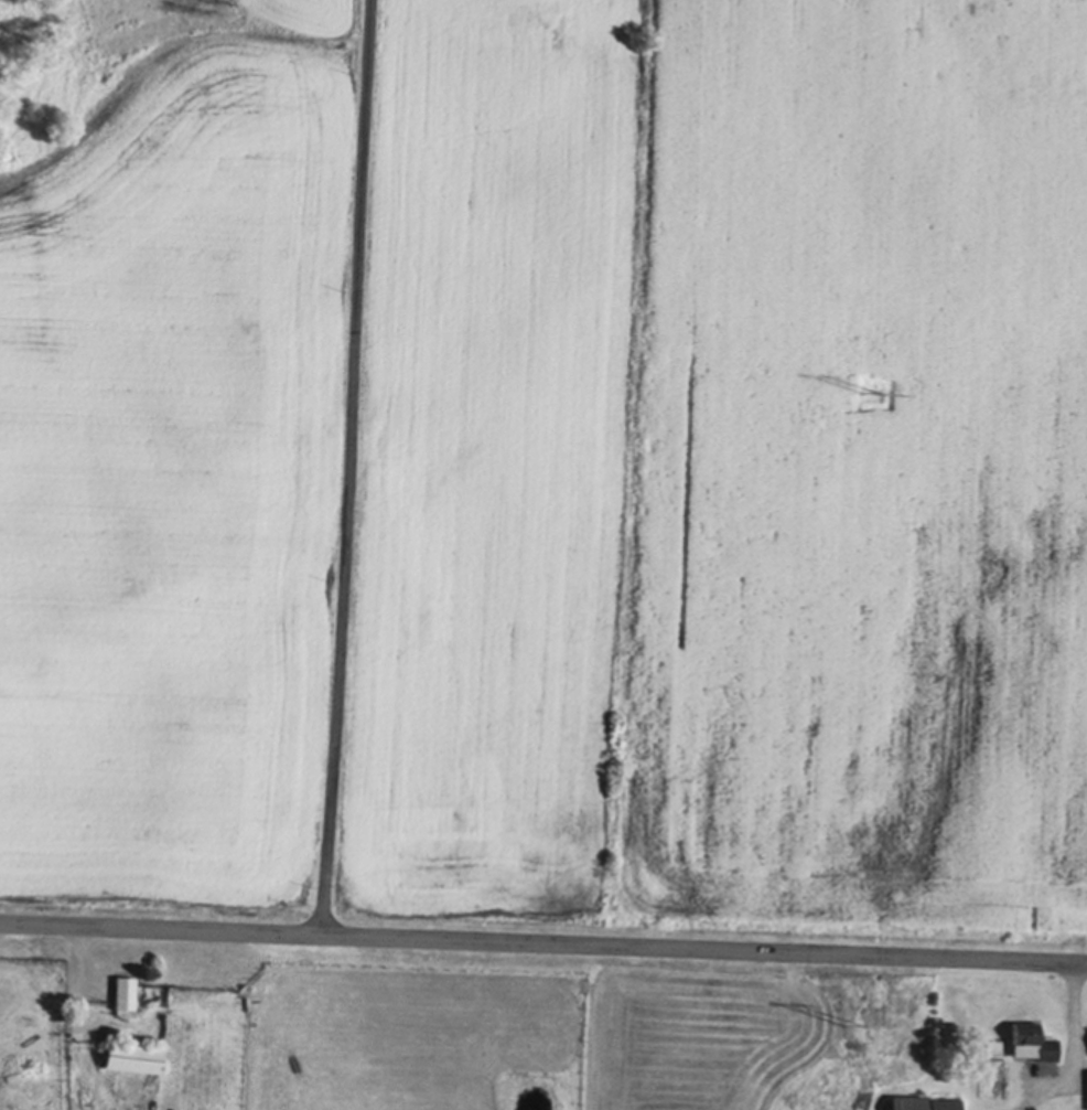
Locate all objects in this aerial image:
power tower: (870, 391)
road: (348, 466)
road: (542, 940)
building: (123, 990)
power tower: (852, 1018)
building: (110, 1032)
building: (1032, 1039)
building: (132, 1056)
building: (997, 1076)
building: (924, 1102)

